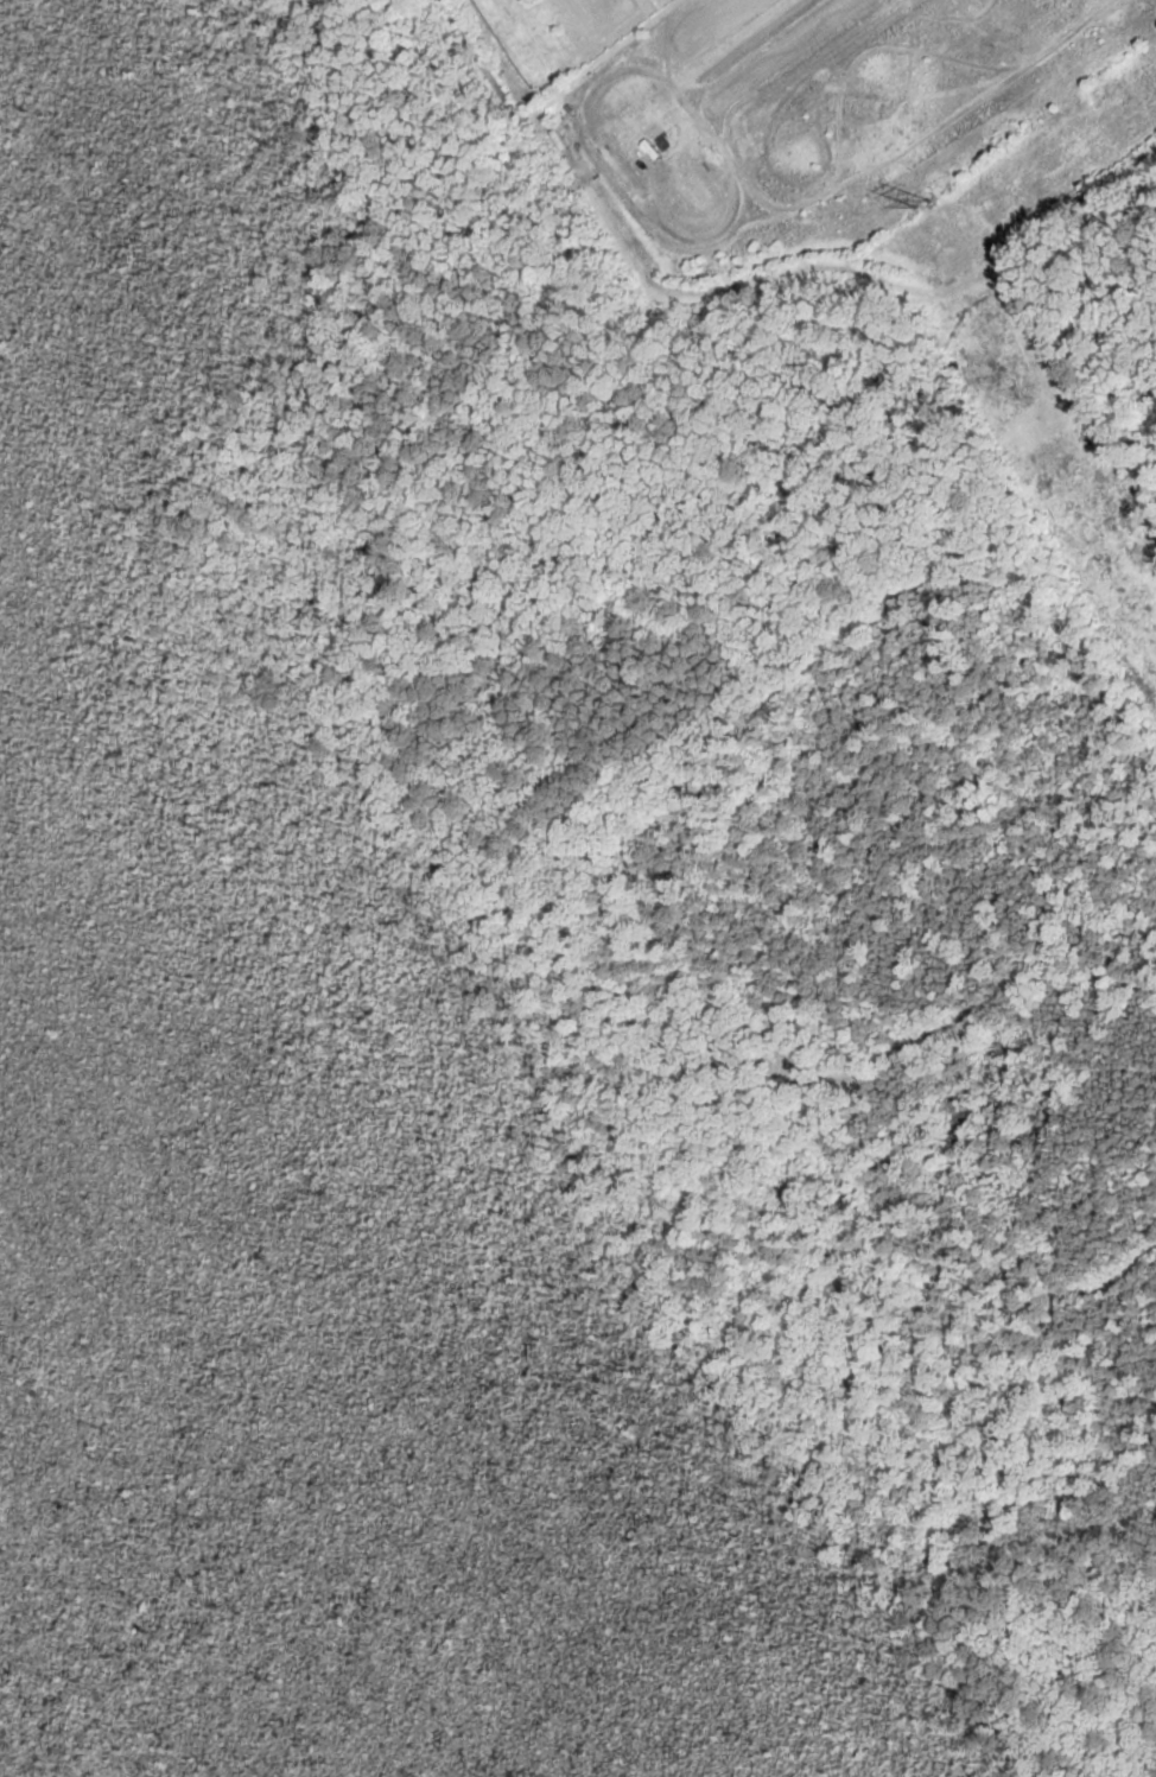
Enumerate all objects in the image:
building: (1055, 114)
power tower: (923, 203)

